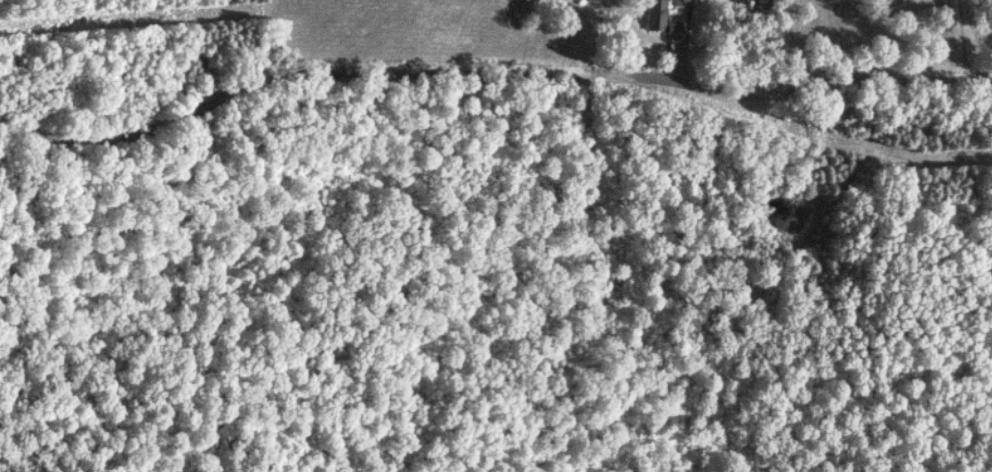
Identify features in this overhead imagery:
building: (657, 15)
building: (675, 30)
road: (491, 67)

